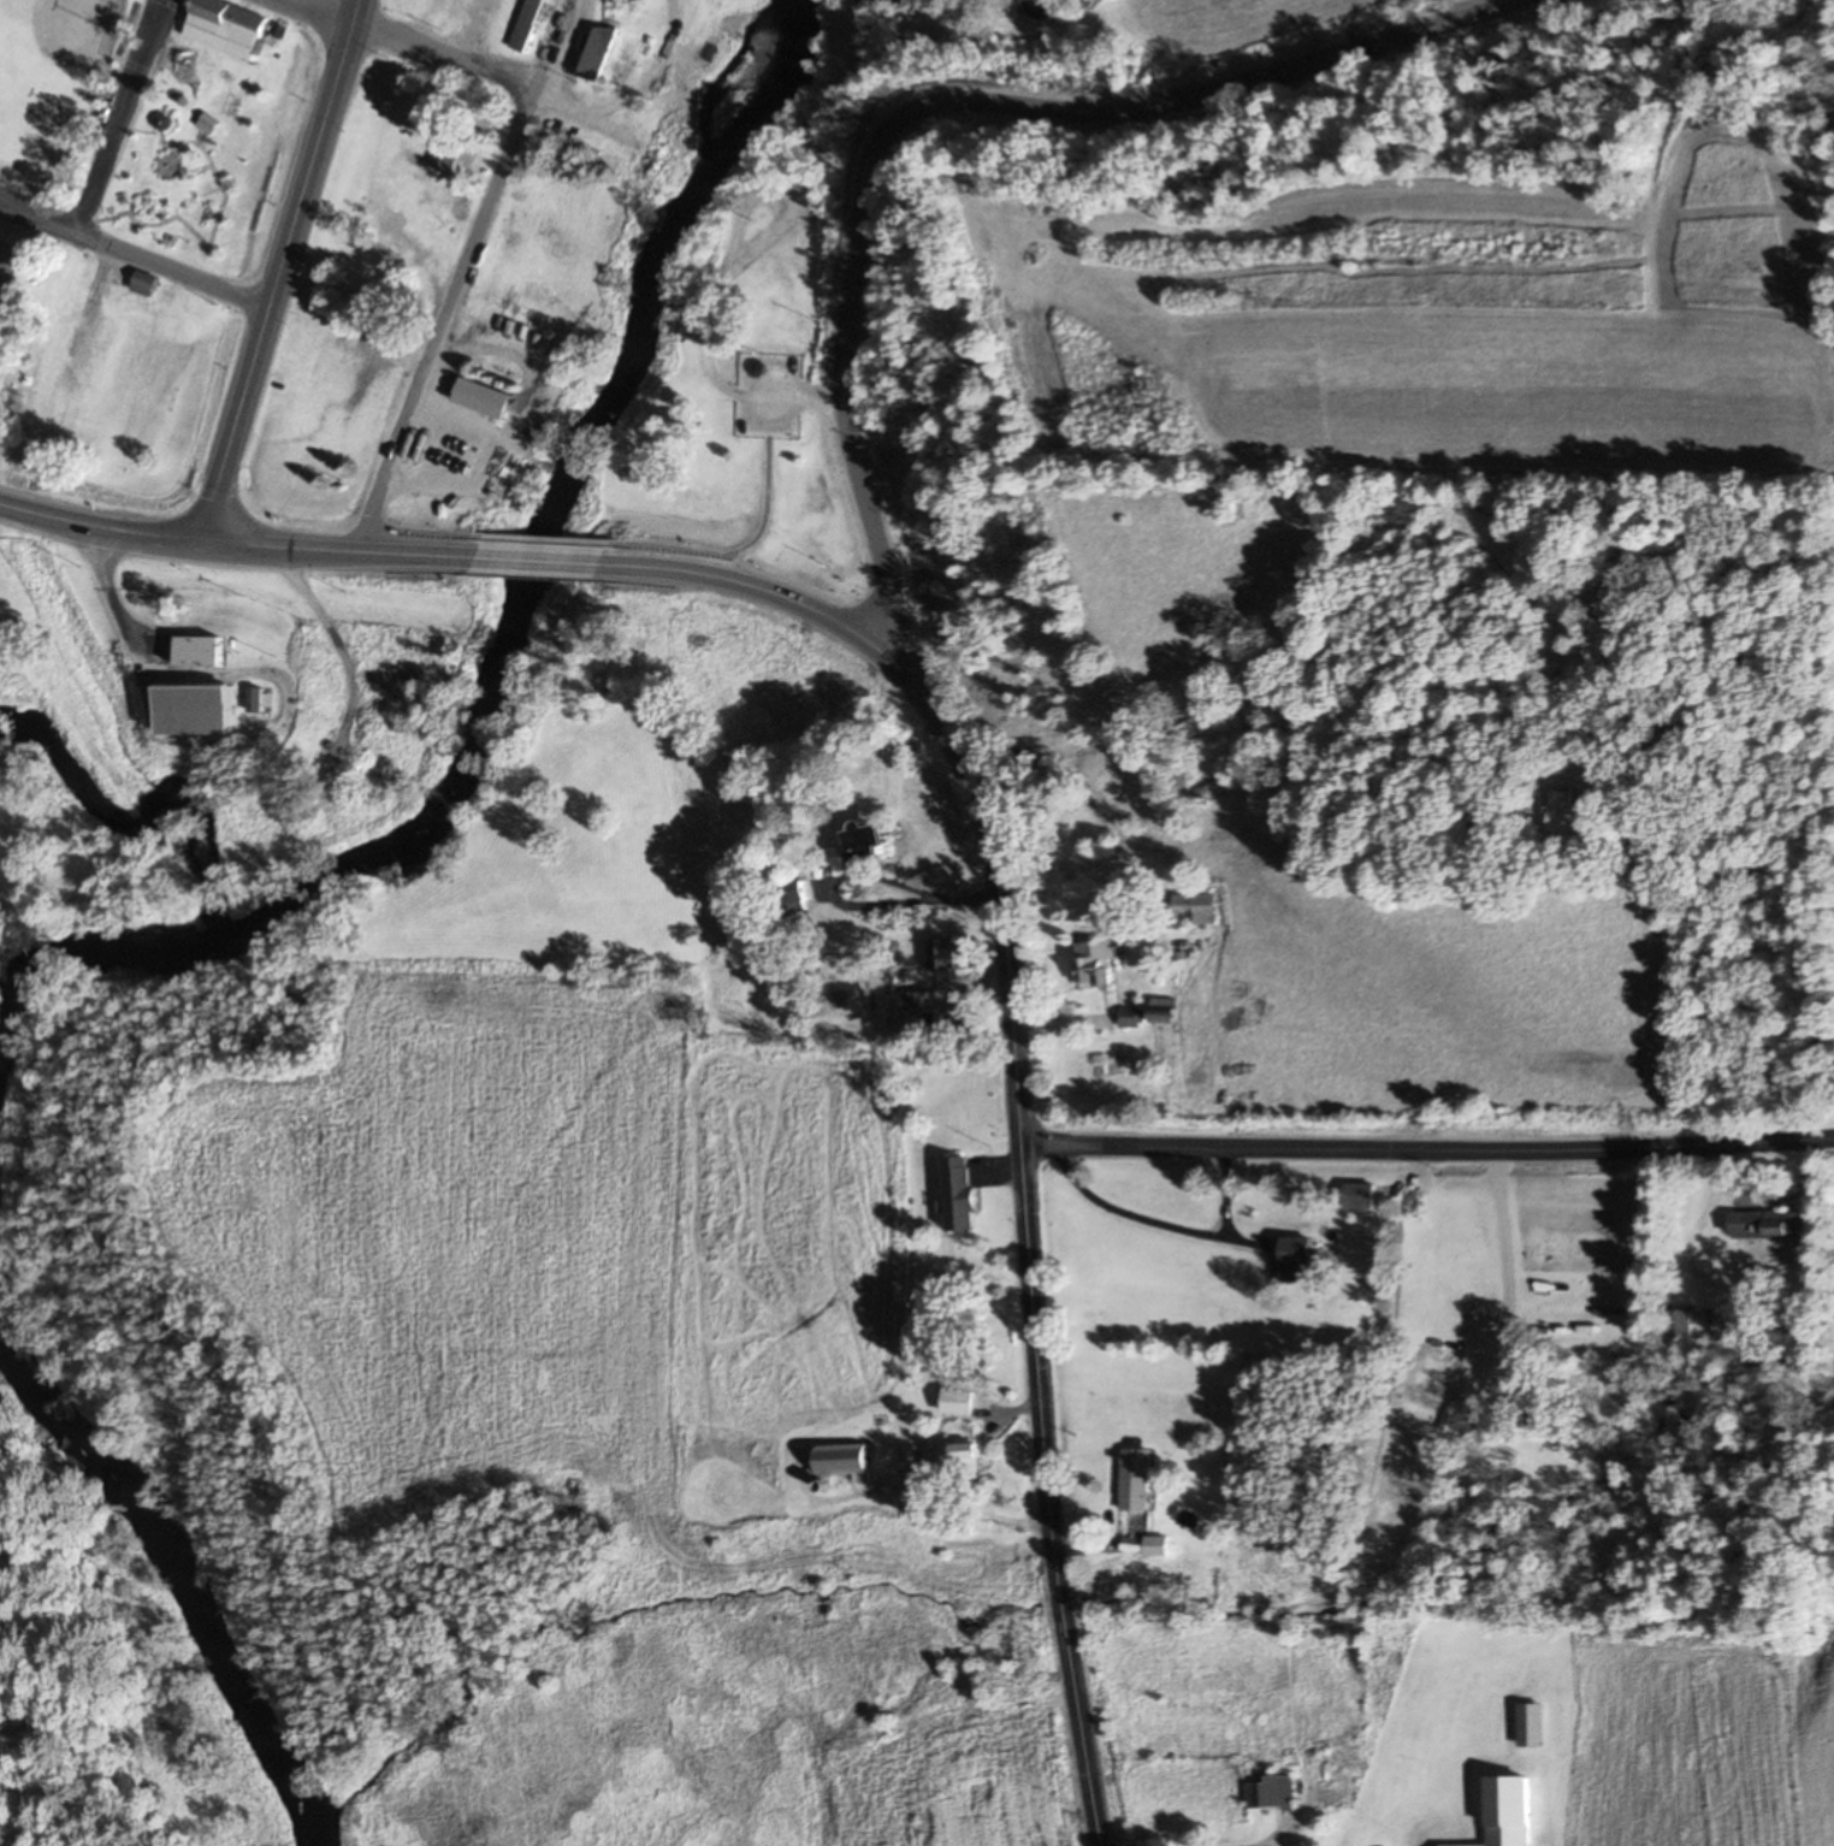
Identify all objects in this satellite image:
road: (323, 13)
building: (528, 18)
building: (227, 29)
building: (598, 40)
road: (945, 101)
road: (126, 116)
park: (147, 132)
building: (445, 142)
road: (483, 223)
road: (136, 252)
road: (285, 264)
building: (147, 284)
building: (484, 386)
road: (101, 521)
road: (342, 539)
road: (542, 552)
road: (758, 579)
building: (203, 639)
river: (515, 643)
building: (254, 685)
building: (196, 693)
building: (258, 699)
building: (1566, 811)
building: (866, 826)
road: (860, 866)
building: (794, 881)
road: (999, 882)
building: (799, 894)
building: (1200, 898)
building: (942, 945)
building: (1094, 953)
building: (1165, 1002)
building: (1130, 1008)
building: (1135, 1018)
road: (1828, 1130)
road: (1421, 1142)
building: (957, 1183)
building: (1356, 1183)
road: (1225, 1187)
road: (1770, 1193)
building: (1361, 1195)
road: (1147, 1214)
building: (1771, 1224)
building: (1295, 1248)
building: (1680, 1324)
building: (1451, 1362)
building: (960, 1402)
building: (1249, 1451)
building: (847, 1460)
building: (965, 1460)
building: (1137, 1480)
road: (1049, 1493)
river: (183, 1572)
building: (1531, 1726)
building: (1273, 1793)
road: (1242, 1844)
building: (1524, 1845)

